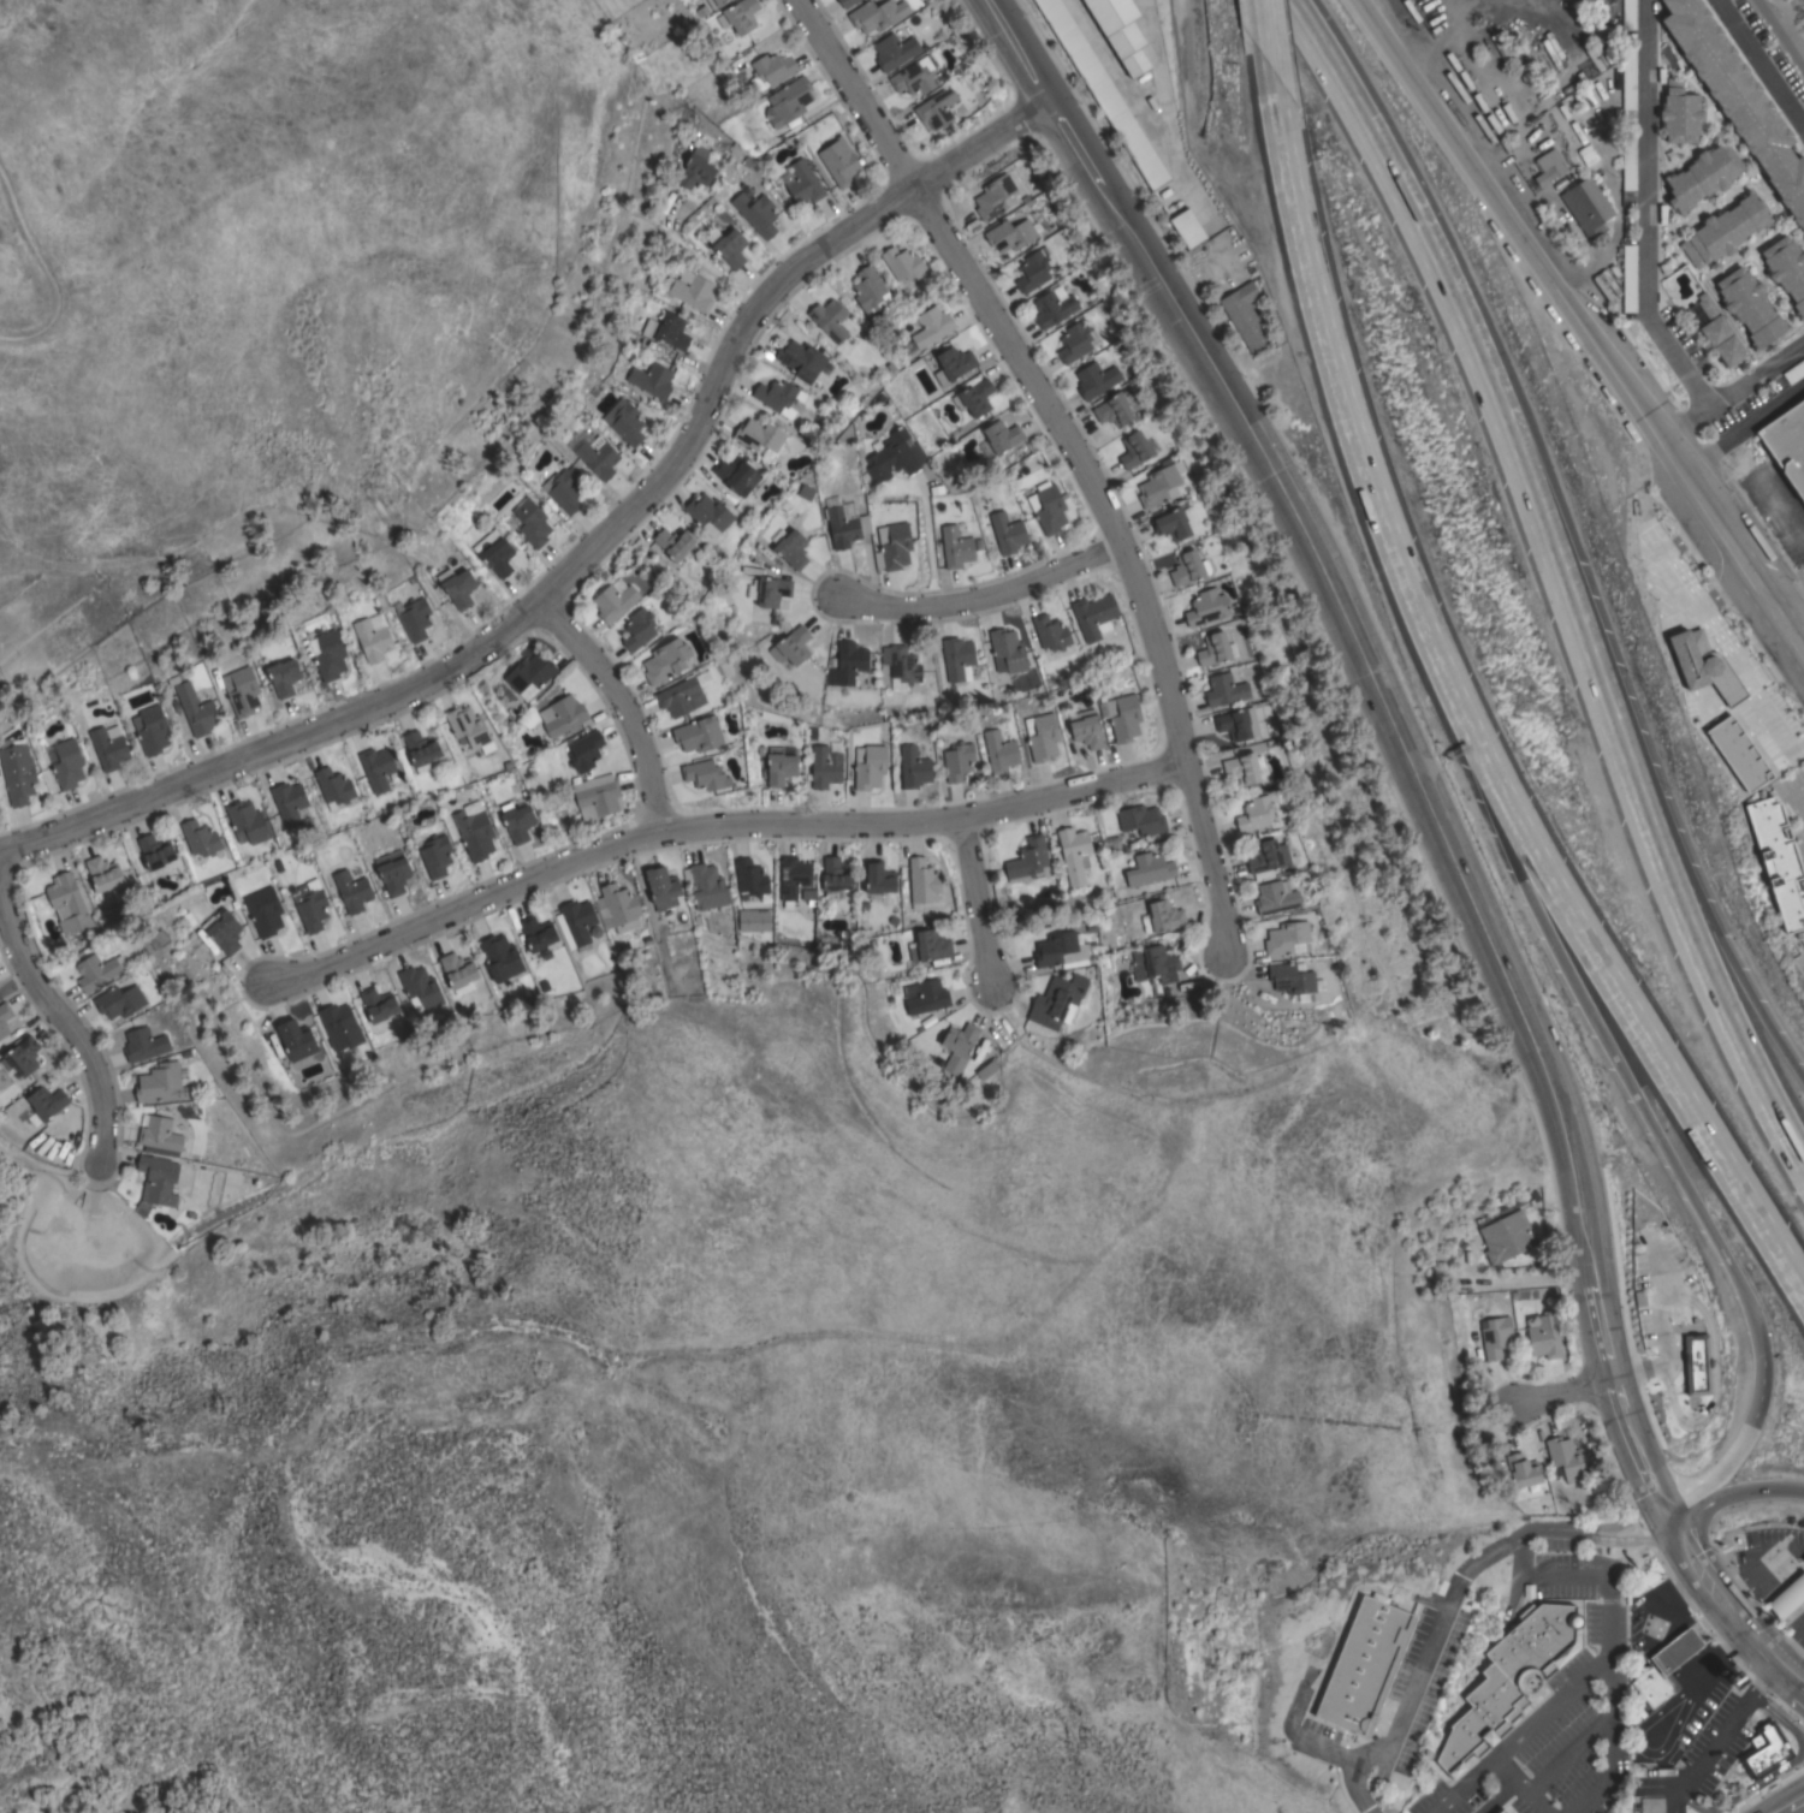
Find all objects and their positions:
building: (716, 2)
building: (847, 2)
building: (877, 14)
building: (1628, 14)
building: (738, 16)
building: (1121, 31)
road: (1265, 34)
building: (895, 49)
road: (1760, 65)
building: (771, 70)
building: (914, 76)
building: (1628, 84)
building: (1104, 93)
building: (1738, 100)
building: (789, 101)
building: (937, 107)
building: (1680, 113)
building: (839, 161)
building: (1628, 162)
building: (1549, 166)
building: (696, 168)
building: (1702, 177)
building: (802, 182)
building: (993, 196)
building: (1586, 207)
road: (1645, 212)
building: (756, 213)
building: (1187, 227)
building: (1725, 230)
building: (1011, 233)
building: (728, 245)
road: (693, 252)
building: (902, 262)
building: (1787, 269)
building: (1032, 271)
building: (1628, 278)
building: (689, 289)
building: (870, 290)
building: (1052, 307)
building: (1750, 307)
building: (1245, 315)
building: (832, 322)
road: (1583, 325)
building: (932, 326)
building: (672, 331)
building: (1719, 334)
building: (1074, 341)
road: (1467, 341)
building: (801, 359)
building: (953, 364)
building: (1794, 370)
building: (1097, 378)
building: (652, 379)
road: (1731, 390)
building: (778, 396)
building: (974, 397)
building: (1114, 410)
building: (625, 421)
road: (1743, 429)
road: (1358, 432)
building: (758, 435)
building: (1002, 435)
building: (1787, 442)
building: (1135, 448)
road: (1074, 451)
building: (598, 456)
building: (896, 456)
building: (735, 474)
building: (1159, 485)
building: (562, 489)
parking lot: (1788, 495)
building: (1048, 507)
road: (1781, 509)
building: (848, 510)
building: (708, 511)
building: (532, 522)
building: (1174, 522)
building: (844, 527)
building: (1007, 533)
road: (926, 541)
building: (673, 542)
building: (892, 546)
building: (956, 546)
building: (790, 547)
road: (583, 551)
building: (494, 552)
building: (1188, 567)
building: (457, 585)
building: (772, 590)
road: (981, 596)
building: (615, 599)
building: (1207, 607)
road: (1792, 608)
building: (1094, 616)
building: (414, 617)
building: (641, 626)
building: (1050, 631)
building: (373, 637)
building: (791, 646)
building: (1213, 648)
building: (1008, 650)
building: (330, 655)
building: (957, 658)
building: (666, 660)
building: (849, 665)
building: (901, 665)
road: (1360, 665)
building: (1705, 668)
building: (529, 674)
building: (284, 676)
building: (1224, 689)
building: (243, 691)
building: (682, 696)
road: (619, 703)
building: (196, 709)
building: (563, 715)
building: (1123, 717)
building: (1239, 723)
building: (469, 727)
building: (150, 729)
building: (1087, 731)
building: (699, 733)
building: (1042, 736)
building: (108, 749)
building: (420, 749)
building: (584, 750)
building: (999, 750)
building: (1738, 753)
building: (957, 760)
building: (67, 763)
building: (779, 766)
building: (825, 766)
building: (868, 766)
building: (376, 767)
building: (914, 767)
building: (1244, 767)
building: (17, 773)
building: (705, 774)
building: (333, 785)
building: (597, 796)
building: (289, 802)
parking lot: (1794, 804)
building: (1256, 813)
building: (1141, 819)
building: (248, 820)
building: (517, 820)
road: (711, 825)
building: (474, 830)
road: (1512, 832)
building: (200, 838)
building: (155, 851)
building: (1073, 852)
building: (435, 856)
building: (1268, 857)
building: (1028, 861)
building: (1779, 861)
building: (1150, 869)
building: (393, 870)
building: (103, 873)
building: (793, 875)
building: (750, 876)
building: (835, 876)
building: (879, 878)
building: (922, 881)
building: (706, 885)
building: (661, 887)
building: (351, 891)
road: (1701, 893)
building: (1276, 896)
road: (977, 899)
building: (67, 903)
building: (310, 904)
building: (619, 905)
building: (265, 910)
building: (1162, 916)
building: (575, 921)
building: (225, 932)
building: (536, 933)
building: (159, 938)
building: (1287, 938)
road: (1691, 940)
building: (928, 945)
building: (1056, 949)
building: (500, 957)
building: (1155, 964)
building: (457, 969)
building: (97, 971)
building: (1294, 980)
building: (421, 991)
building: (925, 995)
building: (119, 1000)
building: (1057, 1001)
building: (378, 1004)
building: (4, 1017)
road: (67, 1022)
building: (340, 1026)
road: (1646, 1038)
building: (296, 1039)
building: (143, 1044)
building: (959, 1046)
building: (20, 1057)
building: (987, 1069)
building: (159, 1084)
building: (46, 1104)
road: (1643, 1107)
building: (159, 1134)
building: (155, 1183)
building: (1507, 1236)
road: (1508, 1278)
building: (1543, 1333)
building: (1495, 1336)
building: (1696, 1363)
road: (1555, 1396)
road: (1614, 1398)
road: (1744, 1438)
building: (1565, 1458)
building: (1523, 1470)
road: (1649, 1488)
road: (1733, 1496)
building: (1803, 1558)
building: (1438, 1586)
building: (1787, 1597)
road: (1678, 1600)
road: (1447, 1603)
road: (1583, 1621)
road: (1739, 1627)
road: (1693, 1628)
road: (1798, 1633)
building: (1675, 1651)
gas station: (1675, 1651)
road: (1788, 1652)
road: (1709, 1658)
building: (1365, 1664)
road: (1600, 1666)
building: (1509, 1680)
road: (1763, 1681)
building: (1651, 1687)
road: (1800, 1689)
building: (1423, 1714)
road: (1608, 1746)
building: (1766, 1750)
road: (1565, 1753)
building: (1405, 1758)
road: (1707, 1758)
road: (1775, 1772)
road: (1518, 1785)
road: (1794, 1801)
road: (1780, 1809)
building: (1502, 1811)

